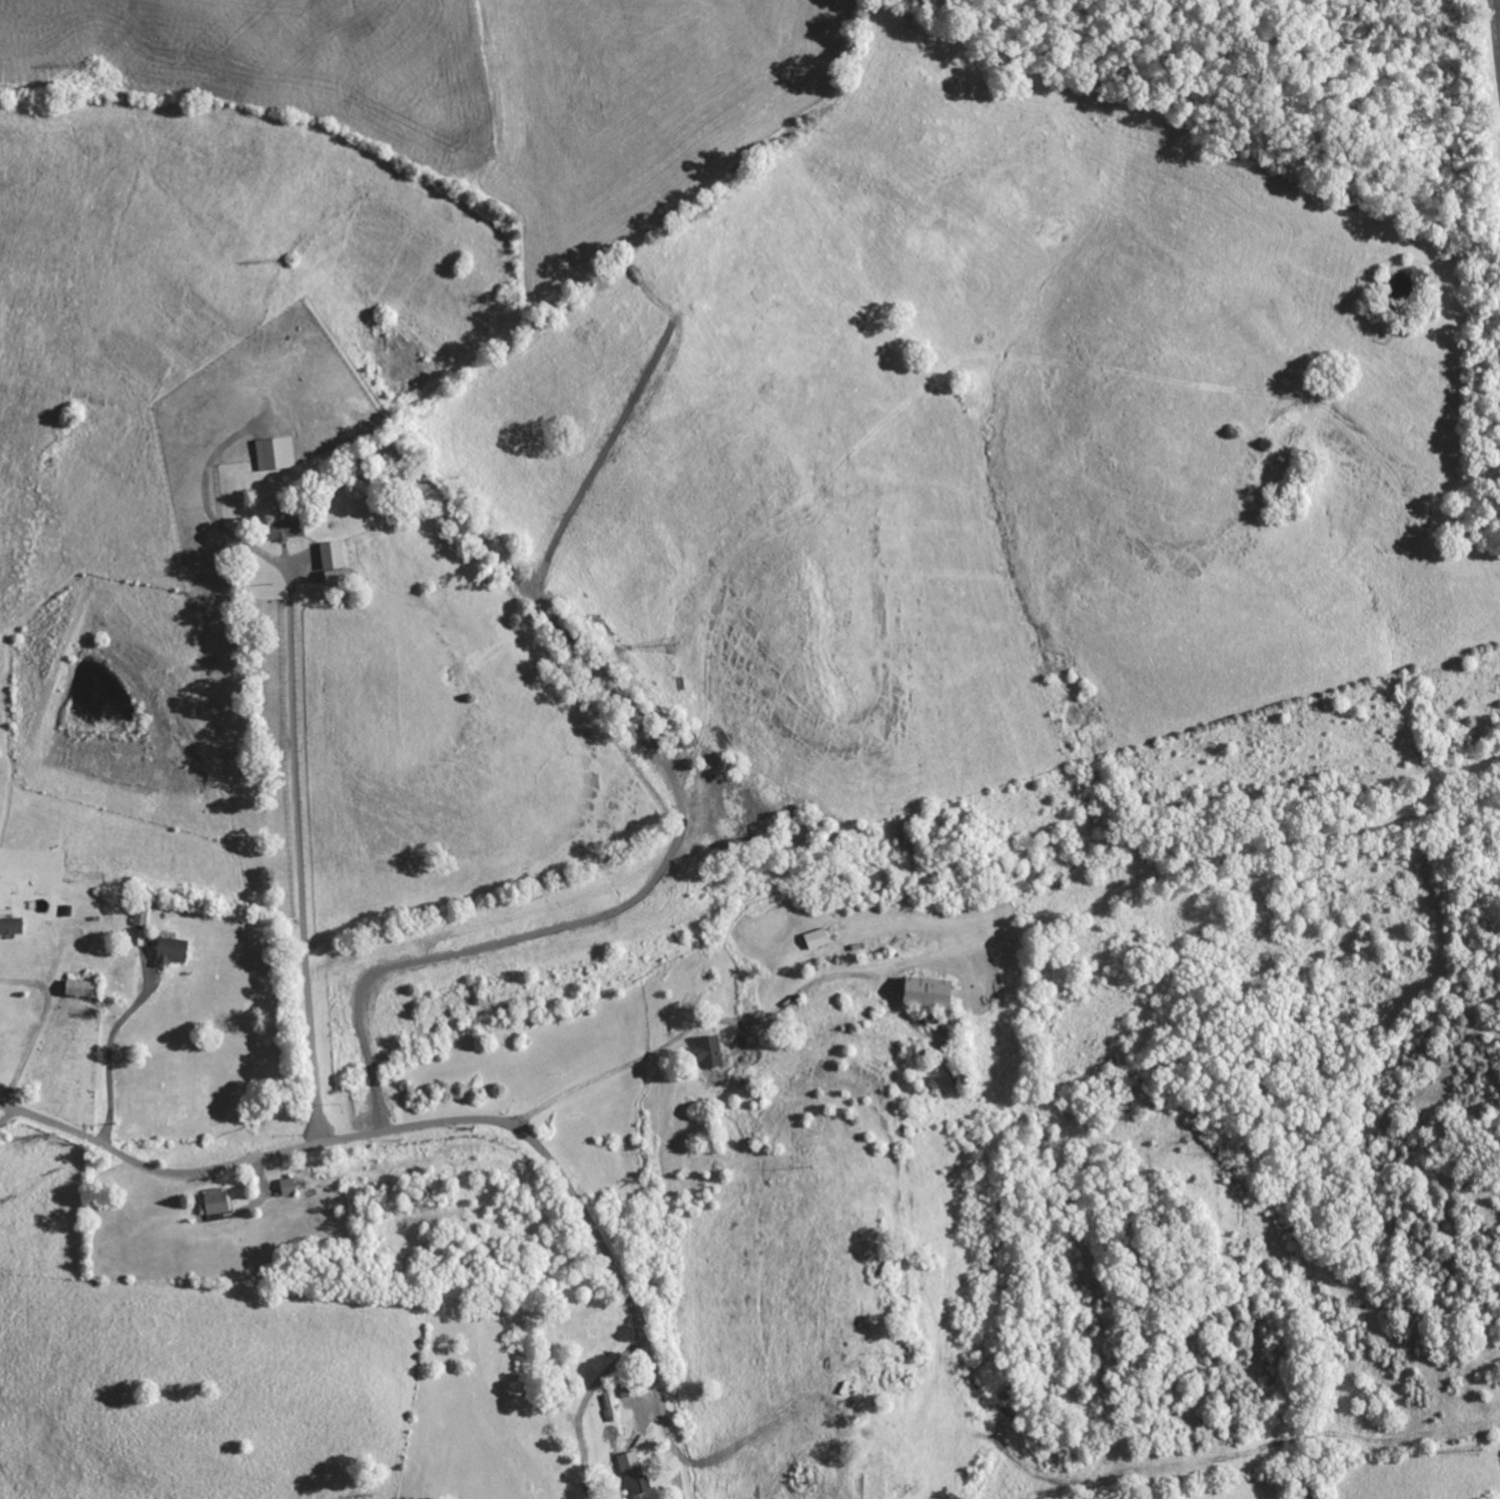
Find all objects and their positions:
power tower: (94, 63)
power tower: (288, 259)
building: (276, 454)
building: (285, 530)
building: (335, 564)
power tower: (673, 645)
road: (300, 859)
building: (11, 925)
building: (817, 938)
building: (173, 951)
building: (84, 986)
building: (928, 992)
road: (38, 1022)
building: (710, 1052)
road: (109, 1056)
road: (592, 1065)
road: (7, 1114)
power tower: (1140, 1114)
road: (457, 1119)
road: (266, 1185)
building: (289, 1187)
building: (216, 1205)
building: (628, 1388)
building: (608, 1408)
power tower: (1477, 1450)
building: (633, 1474)

